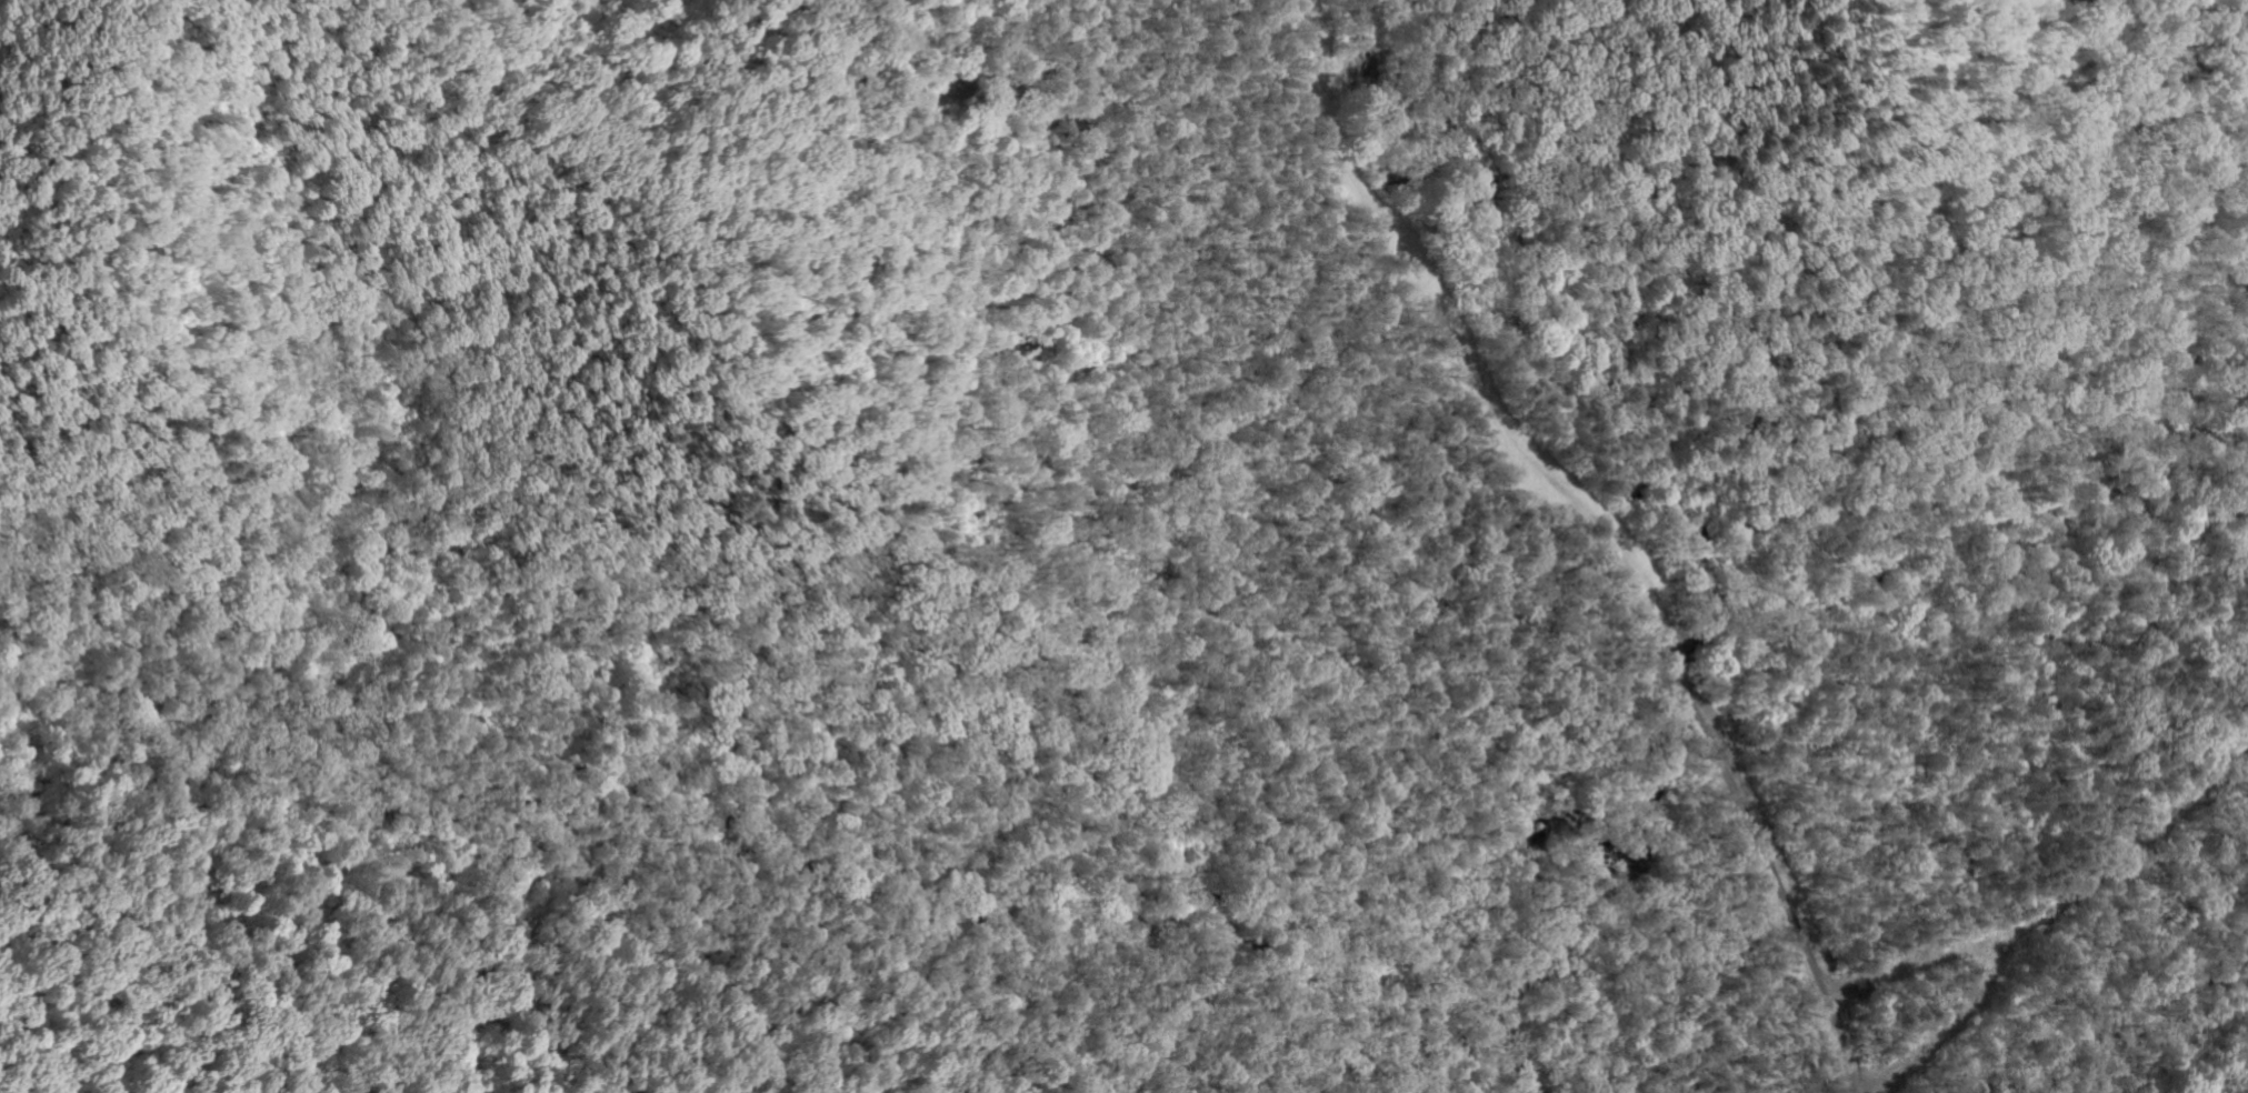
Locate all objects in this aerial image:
road: (1821, 981)

